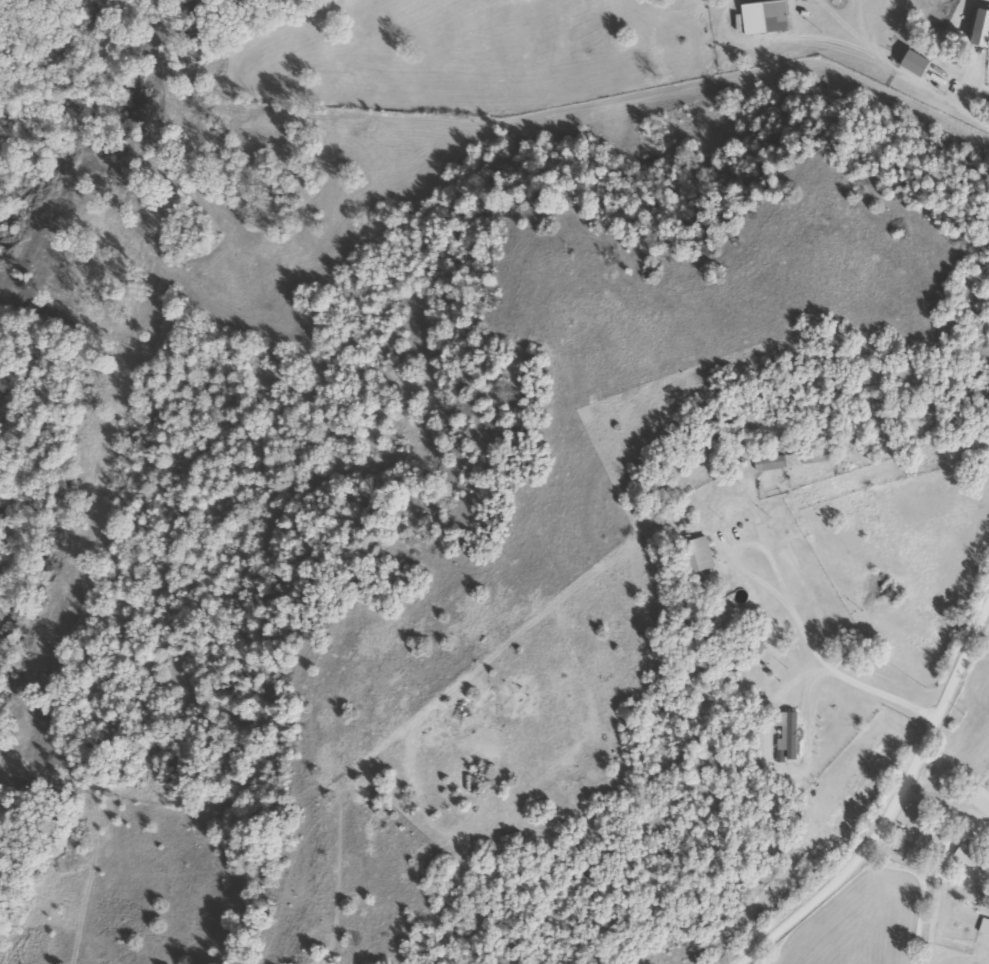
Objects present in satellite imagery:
road: (986, 1)
building: (763, 18)
building: (979, 21)
building: (767, 462)
building: (695, 556)
road: (878, 796)
building: (979, 801)
road: (389, 839)
building: (970, 860)
building: (983, 927)

